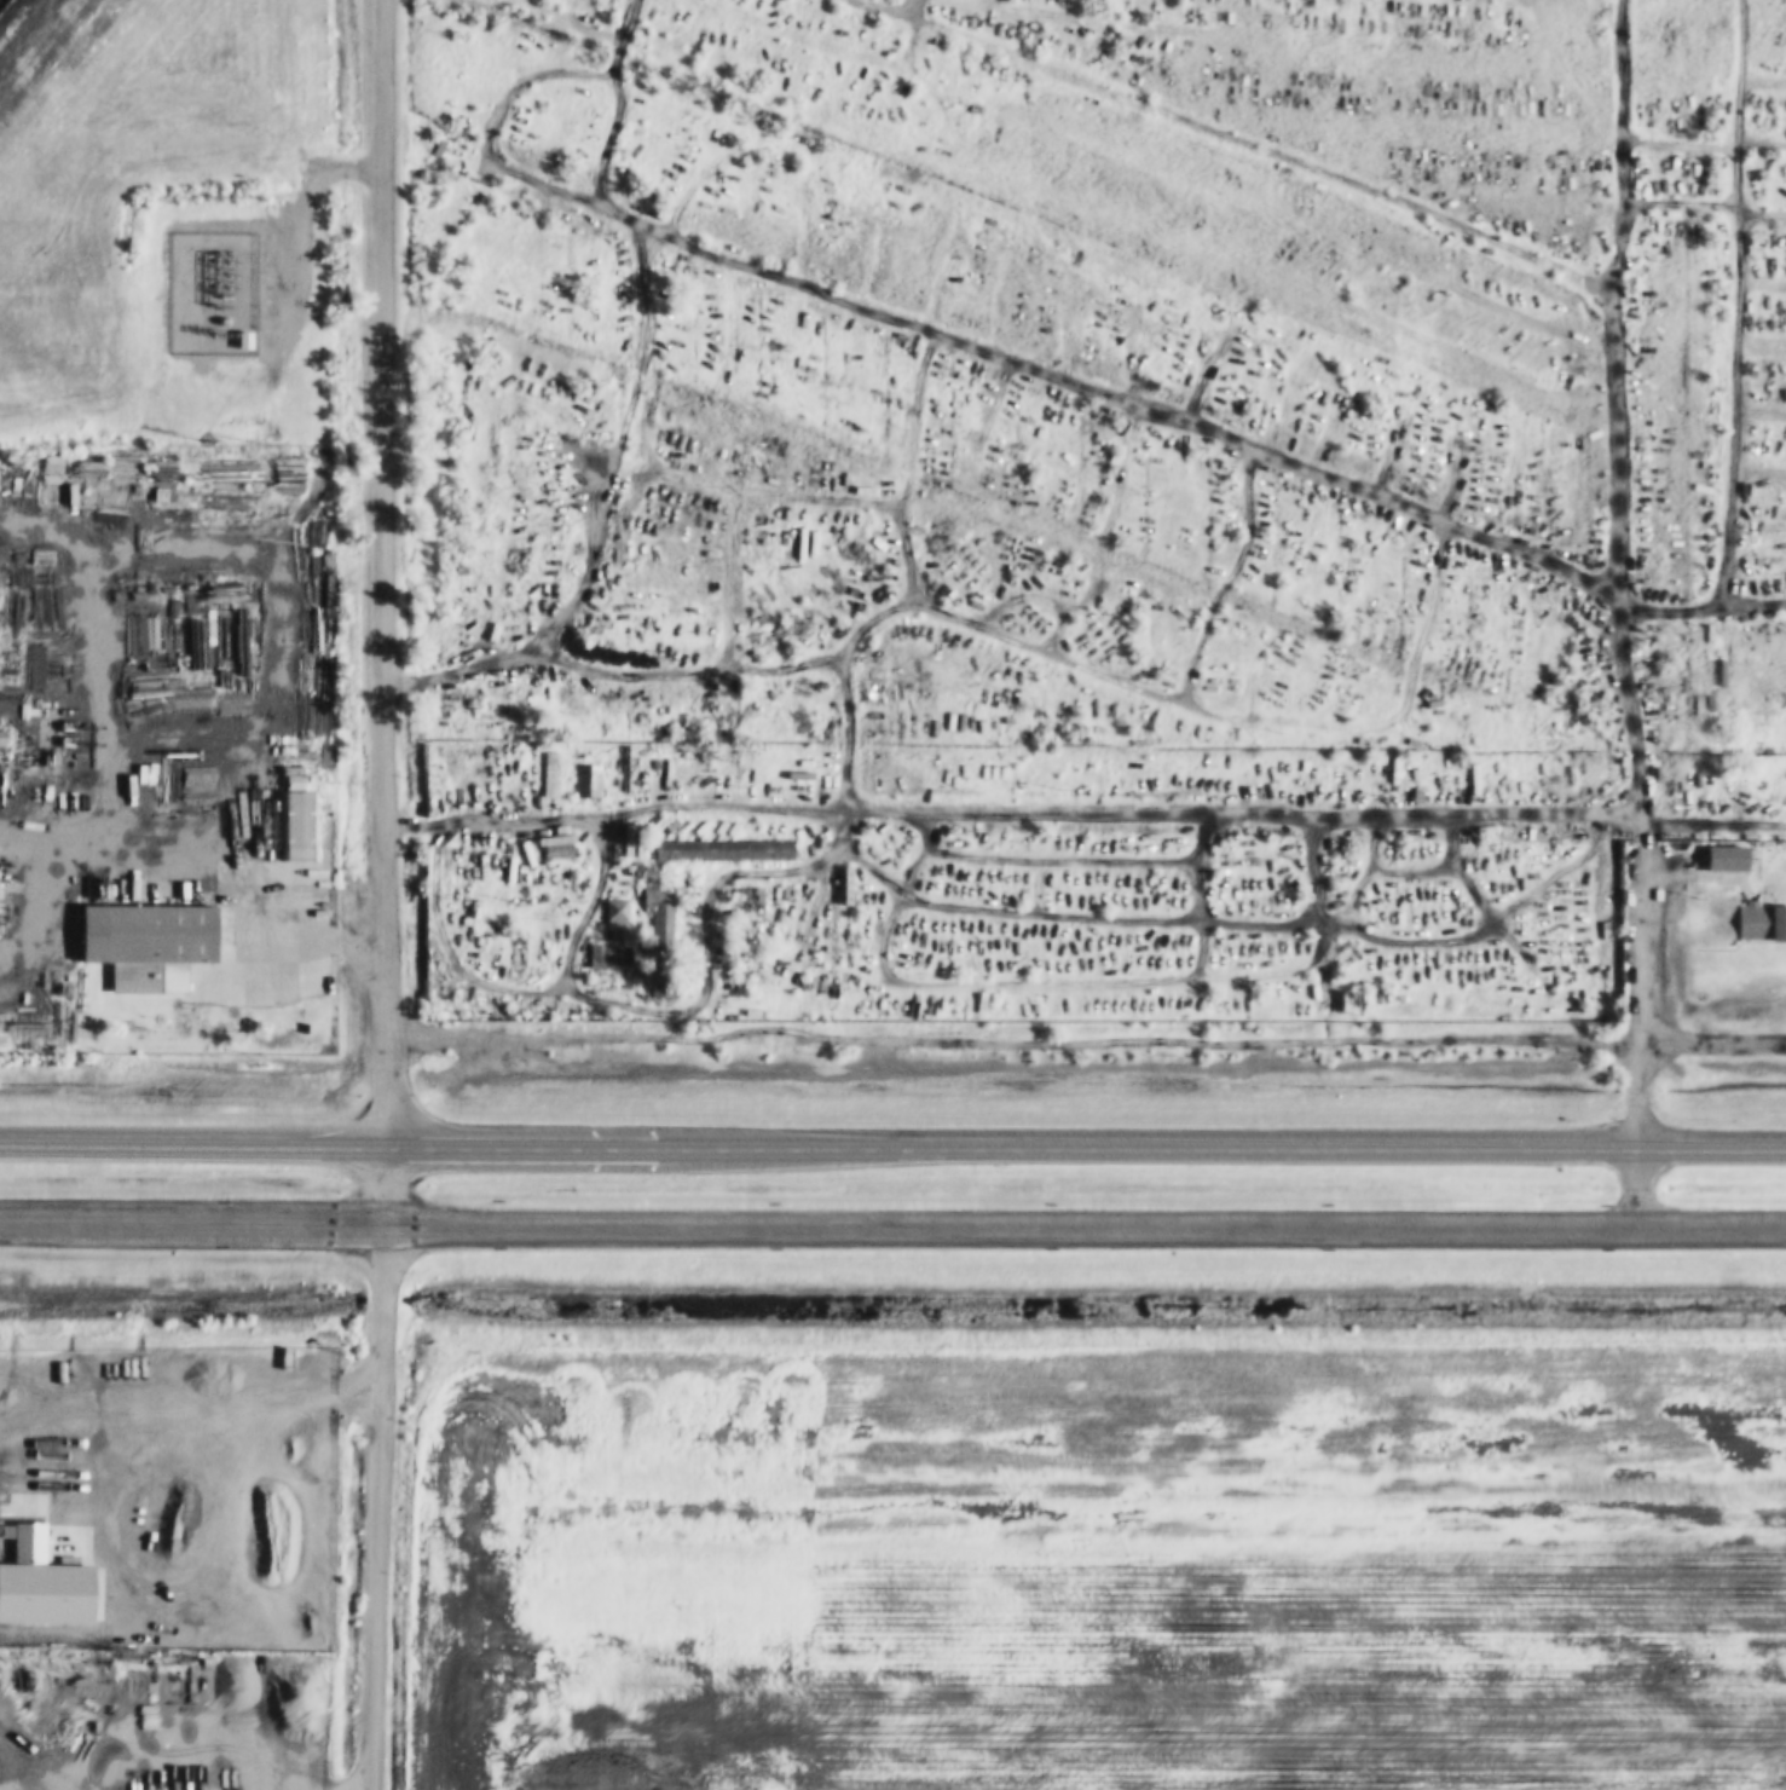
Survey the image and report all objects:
road: (1387, 194)
road: (310, 226)
power substation: (214, 294)
road: (946, 328)
road: (391, 573)
building: (553, 775)
building: (589, 783)
building: (300, 816)
road: (204, 853)
building: (559, 853)
road: (1648, 872)
building: (851, 887)
building: (617, 917)
building: (663, 939)
building: (154, 945)
building: (605, 957)
road: (1087, 1043)
road: (892, 1147)
road: (386, 1185)
road: (1638, 1186)
road: (192, 1222)
road: (1086, 1224)
road: (381, 1506)
crop: (1099, 1577)

